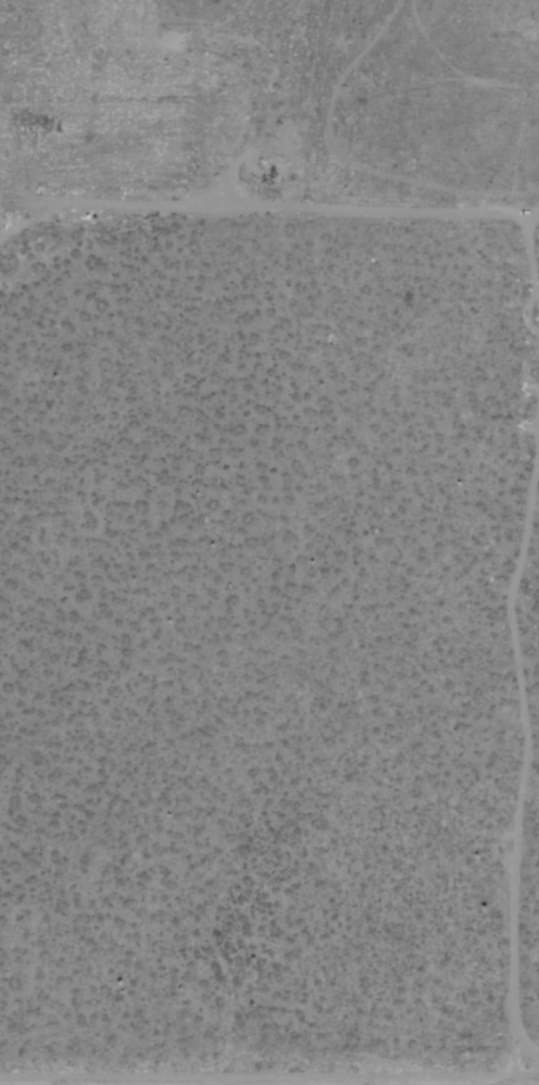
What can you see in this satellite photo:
road: (2, 205)
road: (271, 213)

